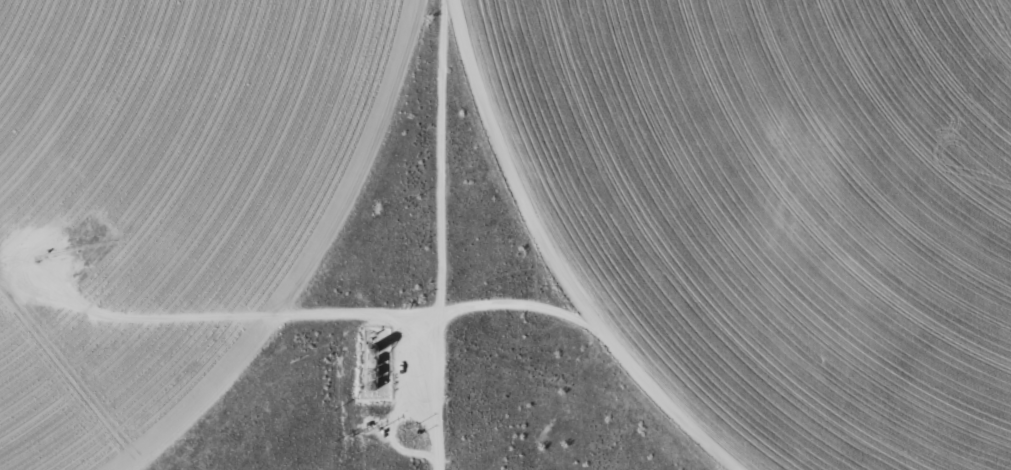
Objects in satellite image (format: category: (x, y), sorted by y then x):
road: (445, 143)
road: (305, 286)
road: (598, 287)

